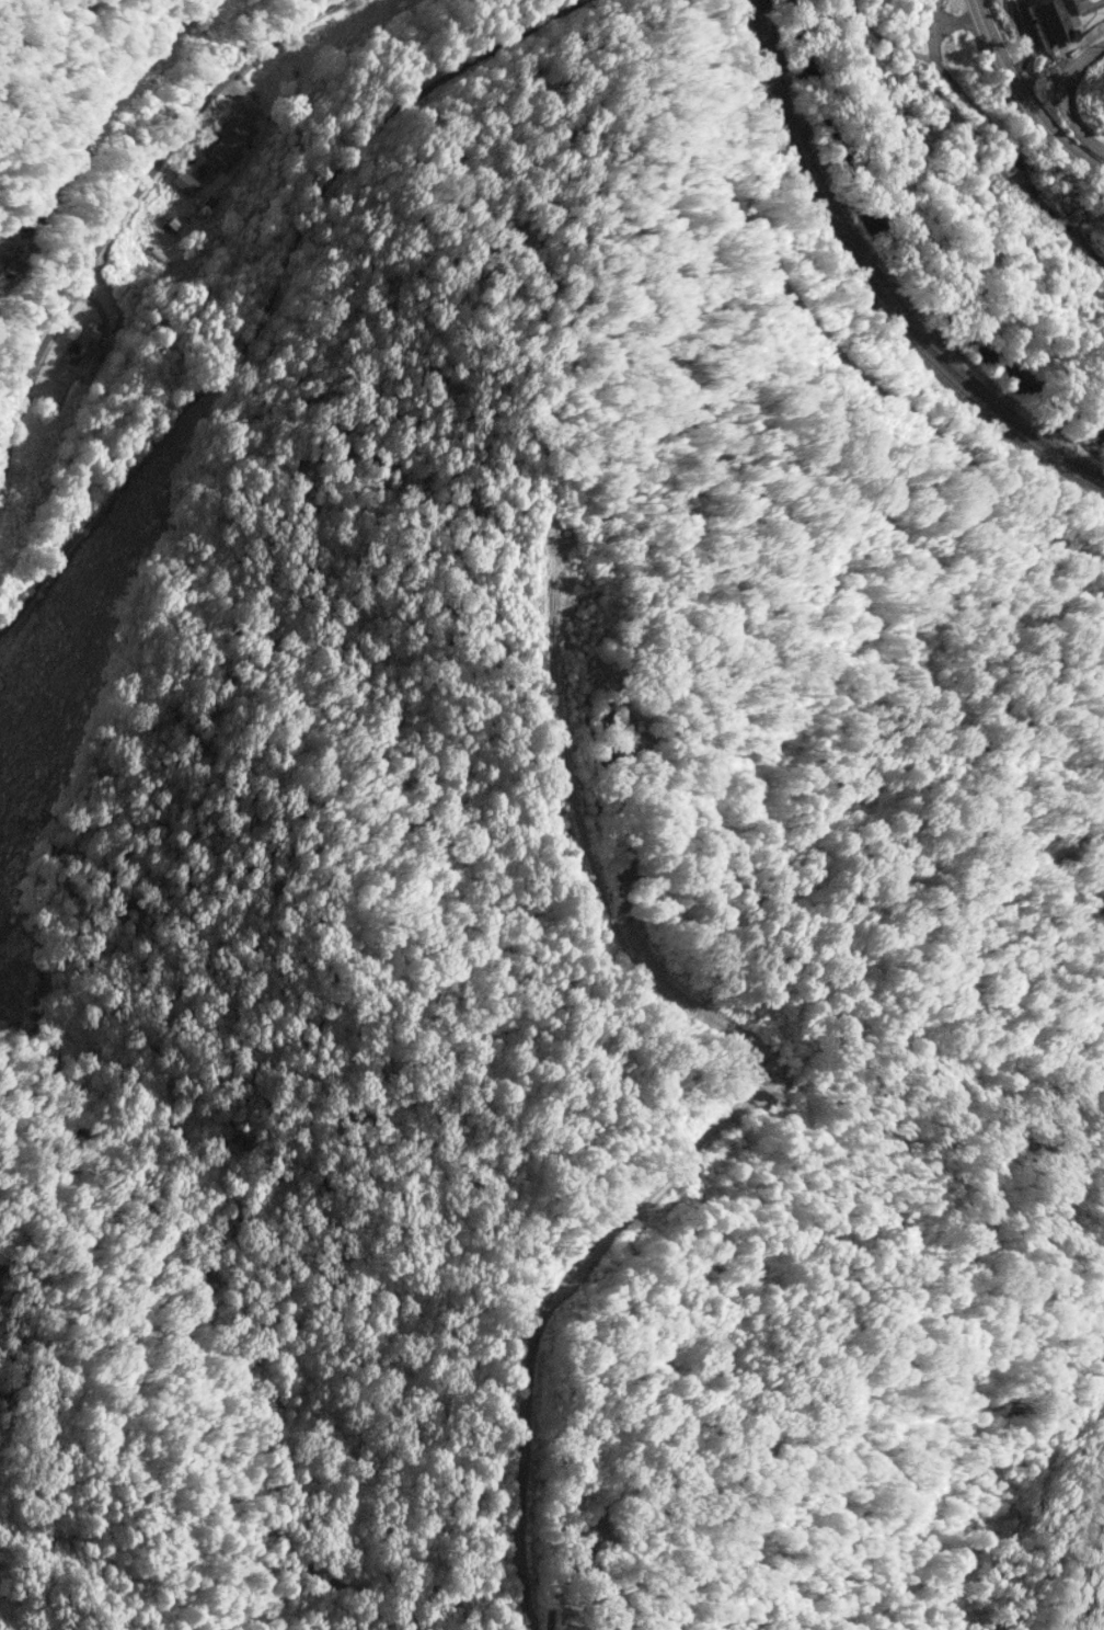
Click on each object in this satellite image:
building: (1057, 22)
road: (1085, 27)
road: (1071, 94)
road: (1025, 99)
building: (235, 138)
building: (187, 183)
building: (210, 203)
building: (176, 225)
road: (142, 228)
building: (21, 265)
railway: (864, 286)
building: (84, 342)

